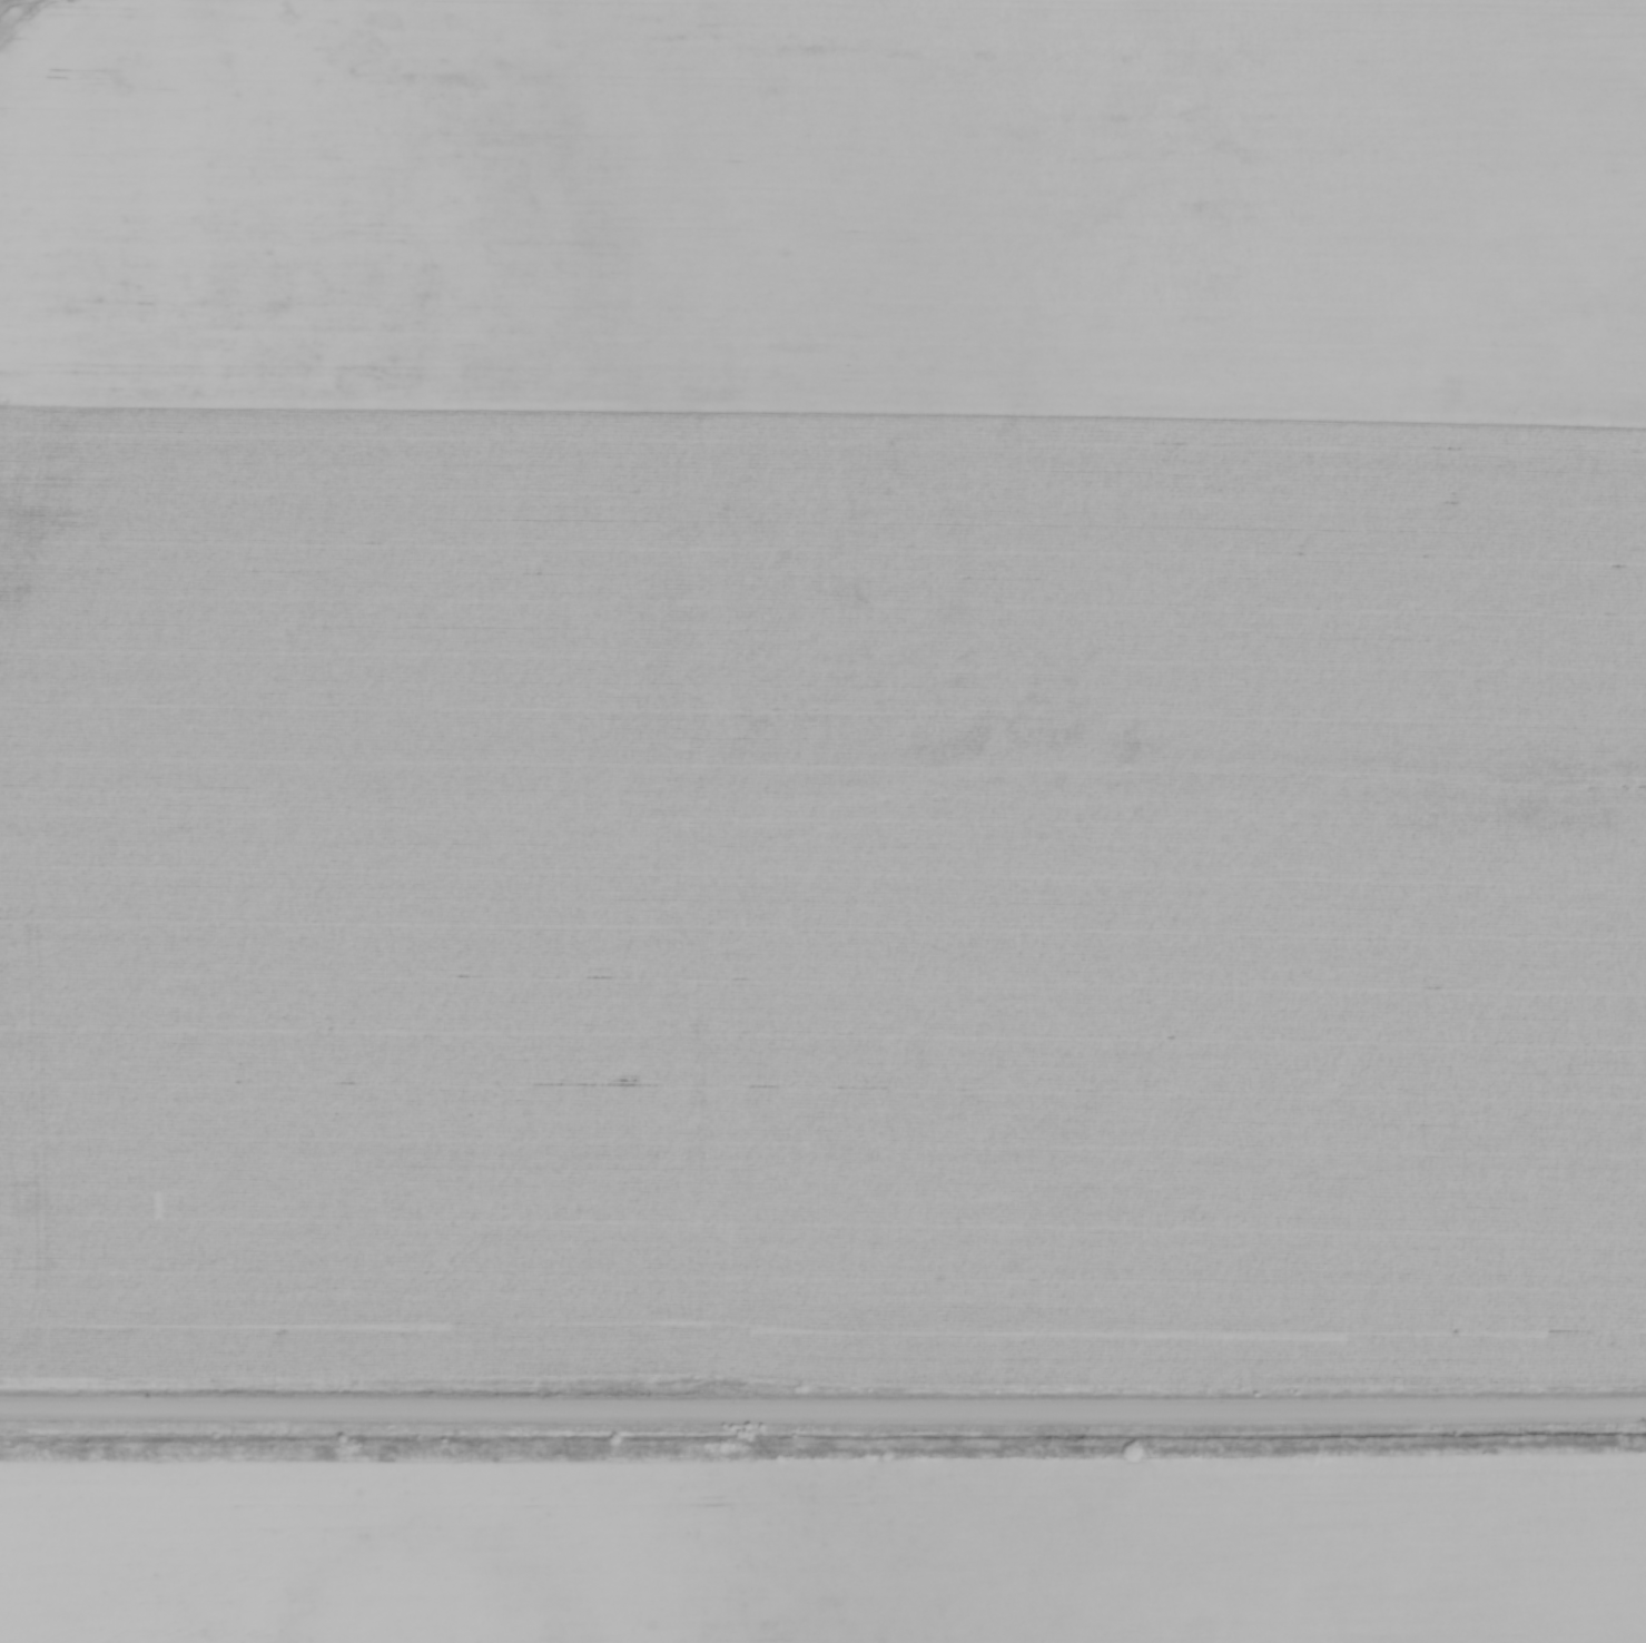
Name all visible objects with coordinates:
road: (822, 1416)

